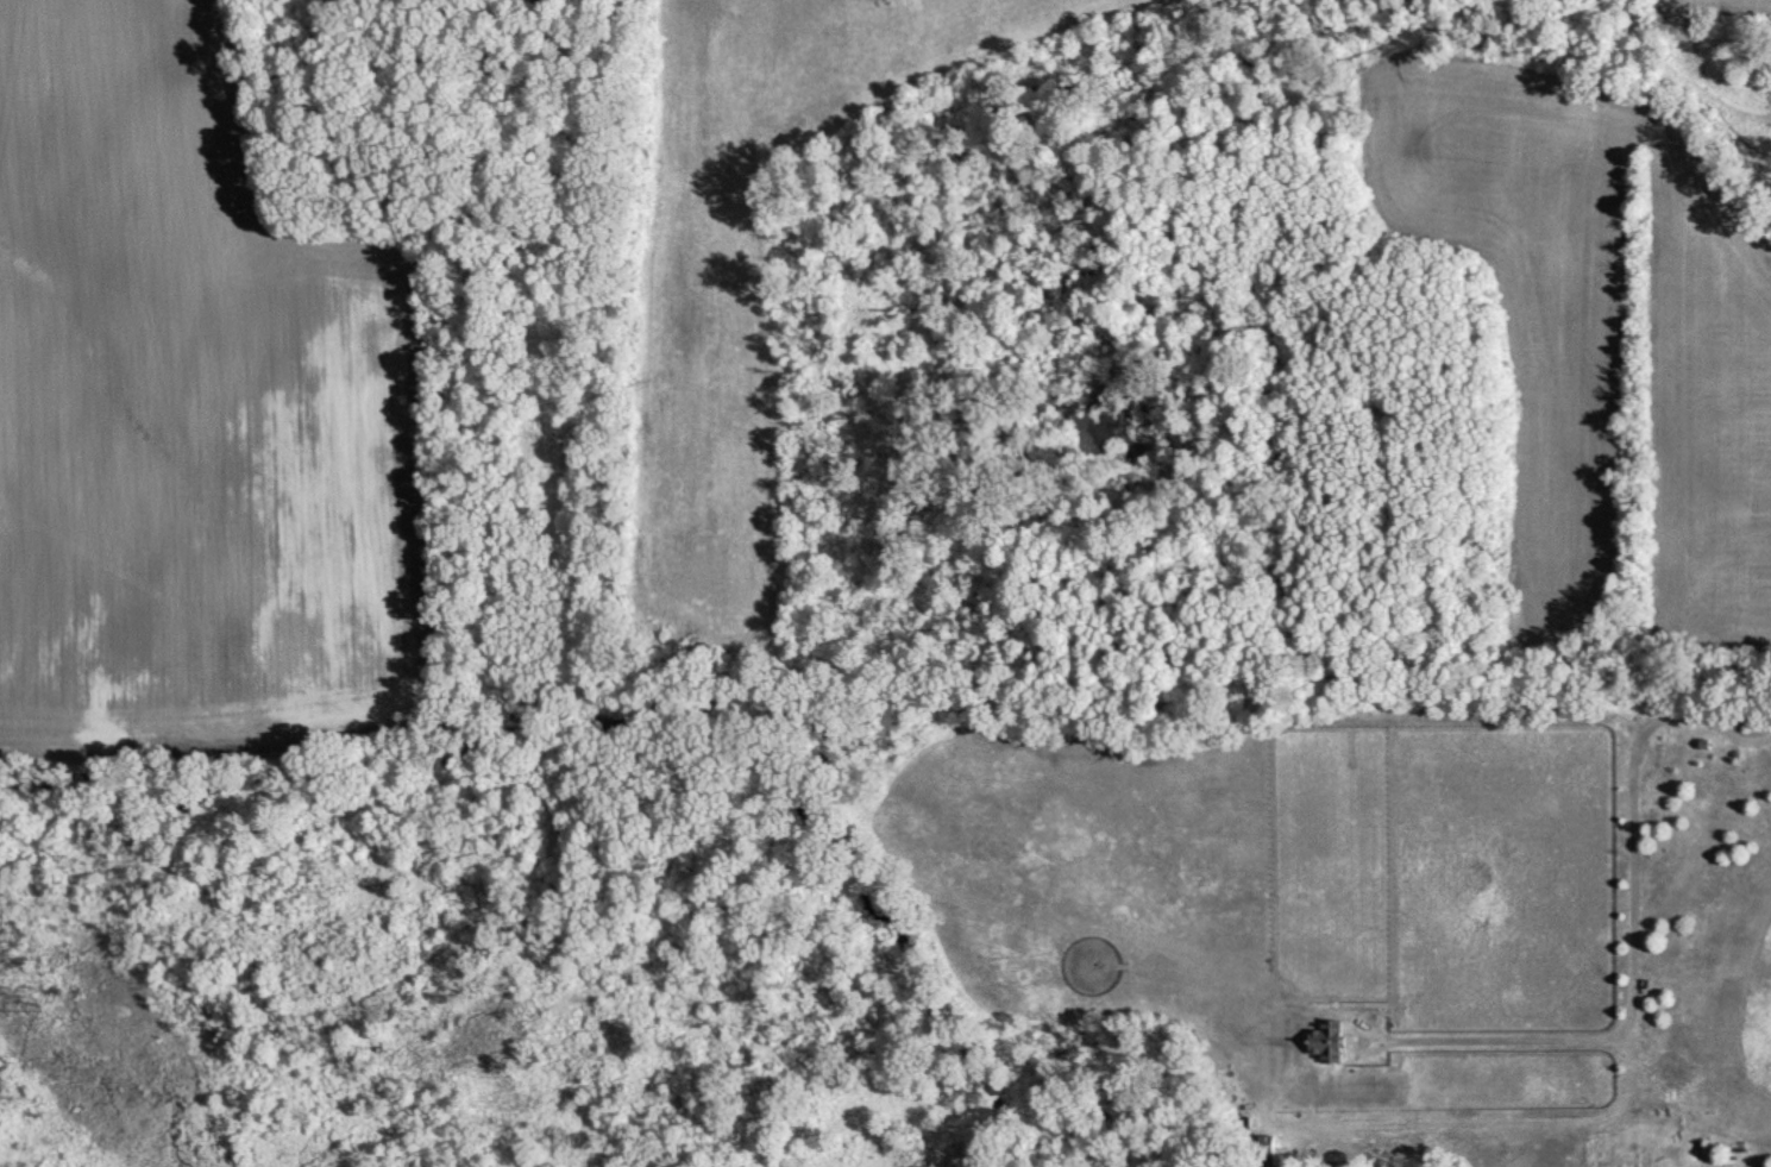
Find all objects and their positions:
road: (695, 15)
road: (1626, 337)
road: (1697, 671)
river: (670, 709)
road: (1633, 934)
building: (1326, 1040)
building: (1260, 1144)

